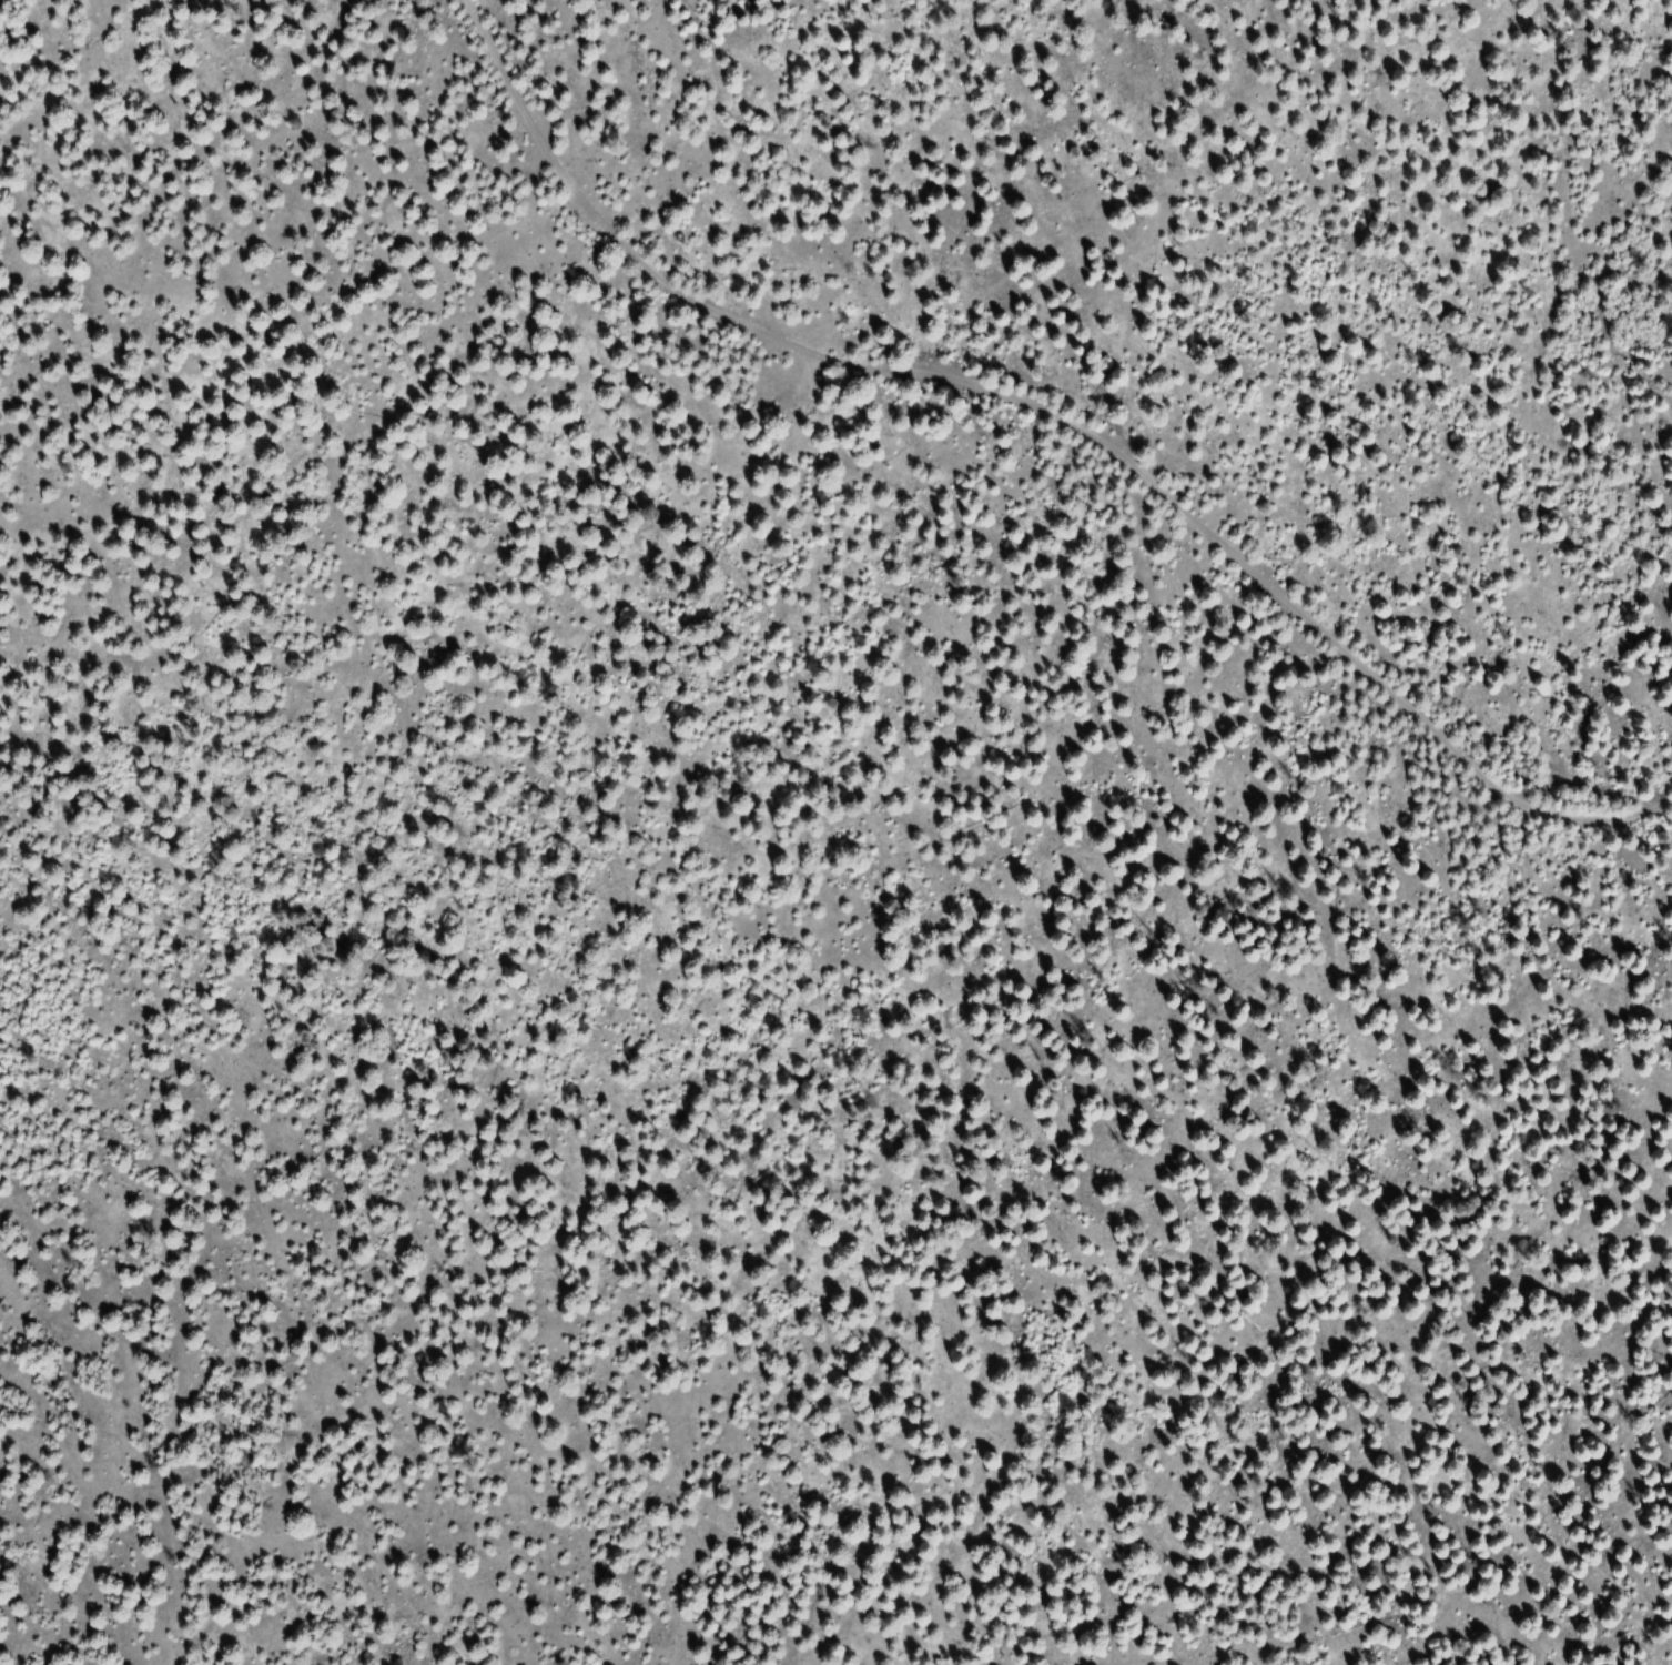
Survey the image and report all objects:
road: (1047, 414)

